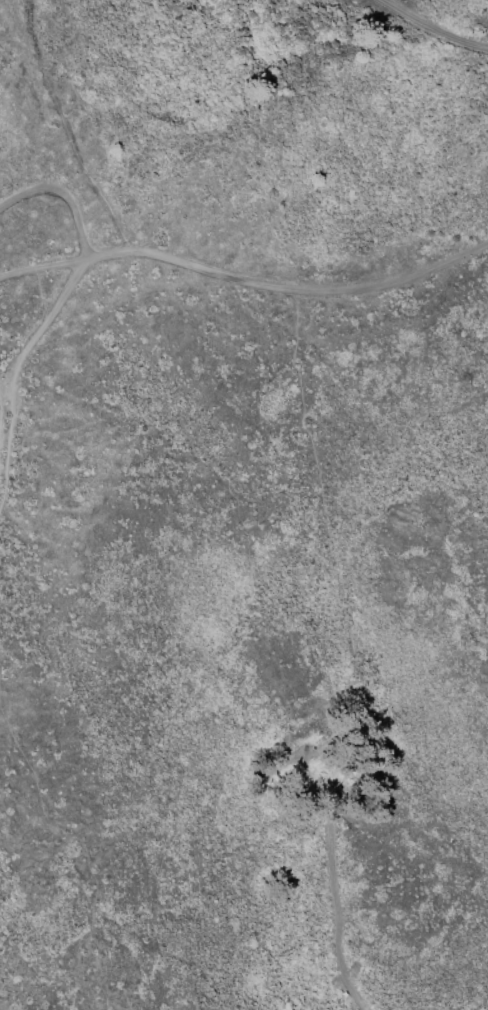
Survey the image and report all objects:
road: (433, 29)
road: (65, 194)
road: (115, 257)
road: (43, 269)
road: (315, 297)
road: (16, 371)
road: (335, 884)

